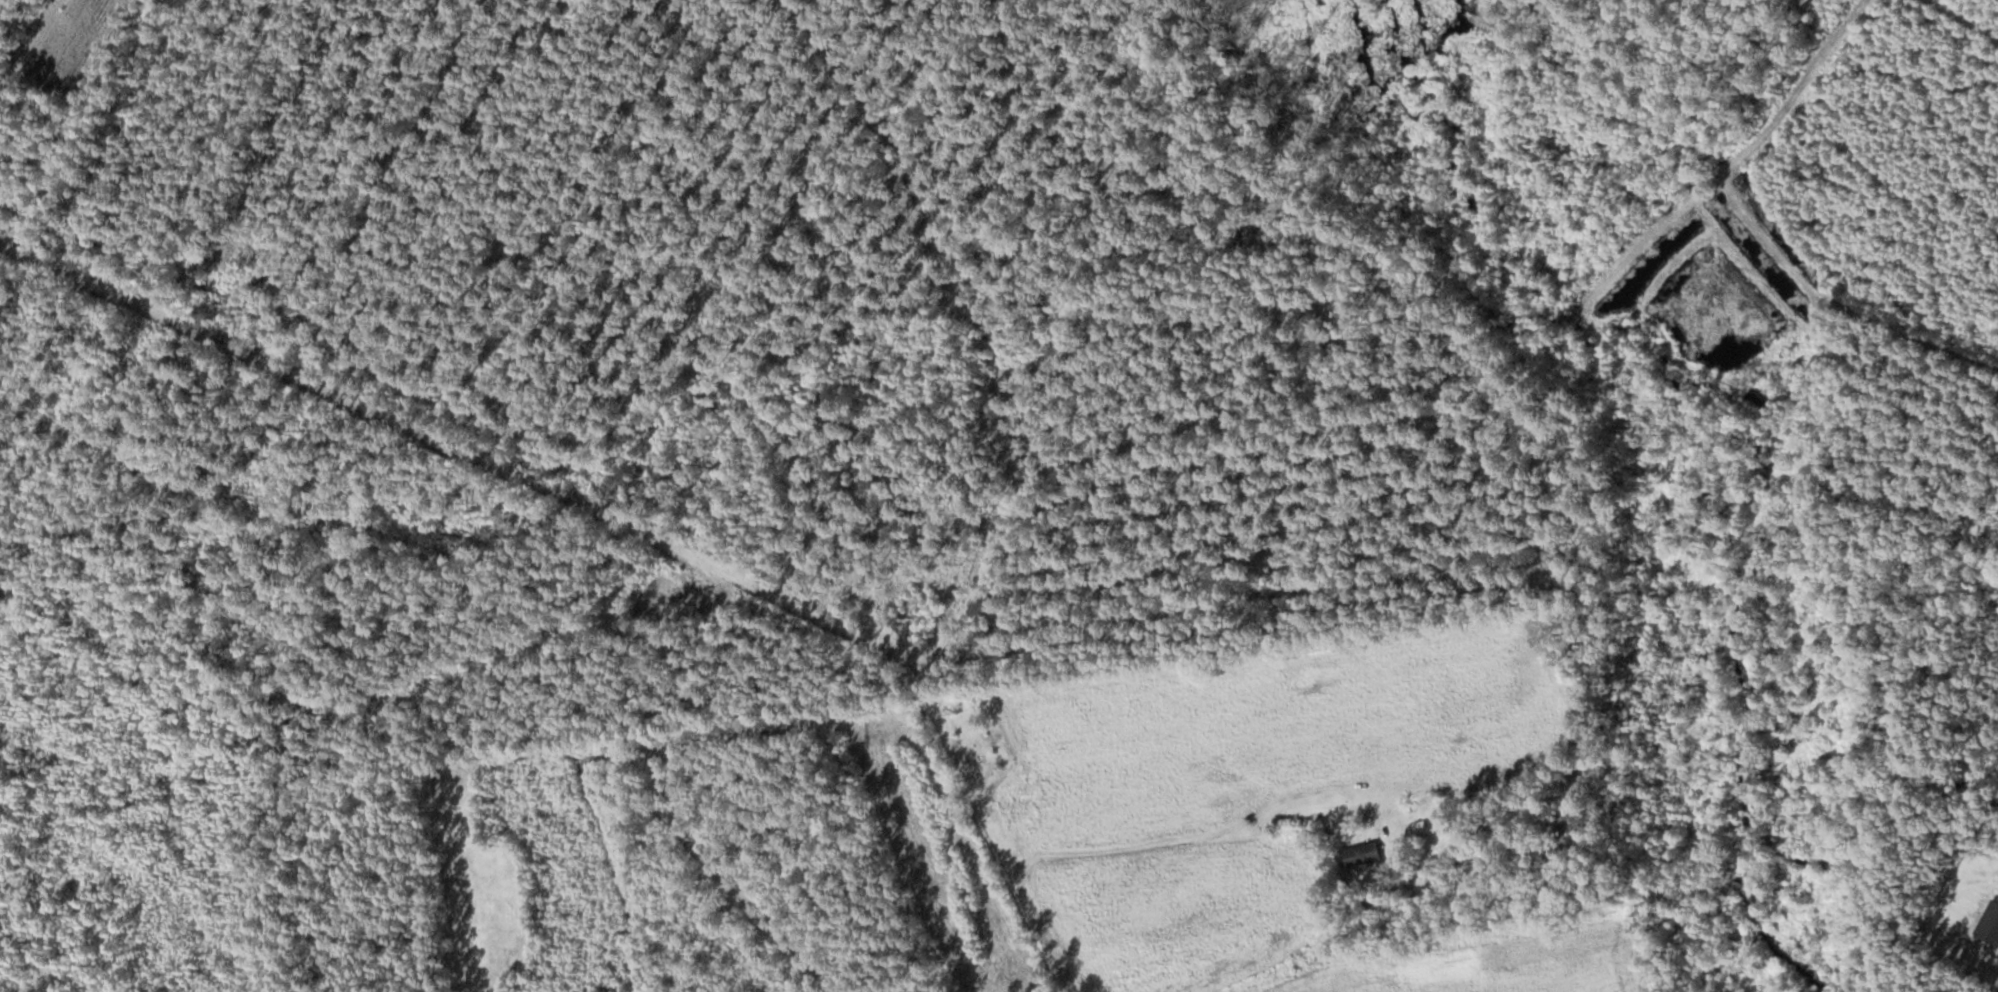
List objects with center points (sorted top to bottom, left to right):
road: (1967, 18)
crop: (69, 40)
road: (1764, 237)
road: (1627, 256)
road: (1746, 264)
road: (1669, 267)
road: (567, 502)
road: (1121, 847)
building: (1359, 854)

